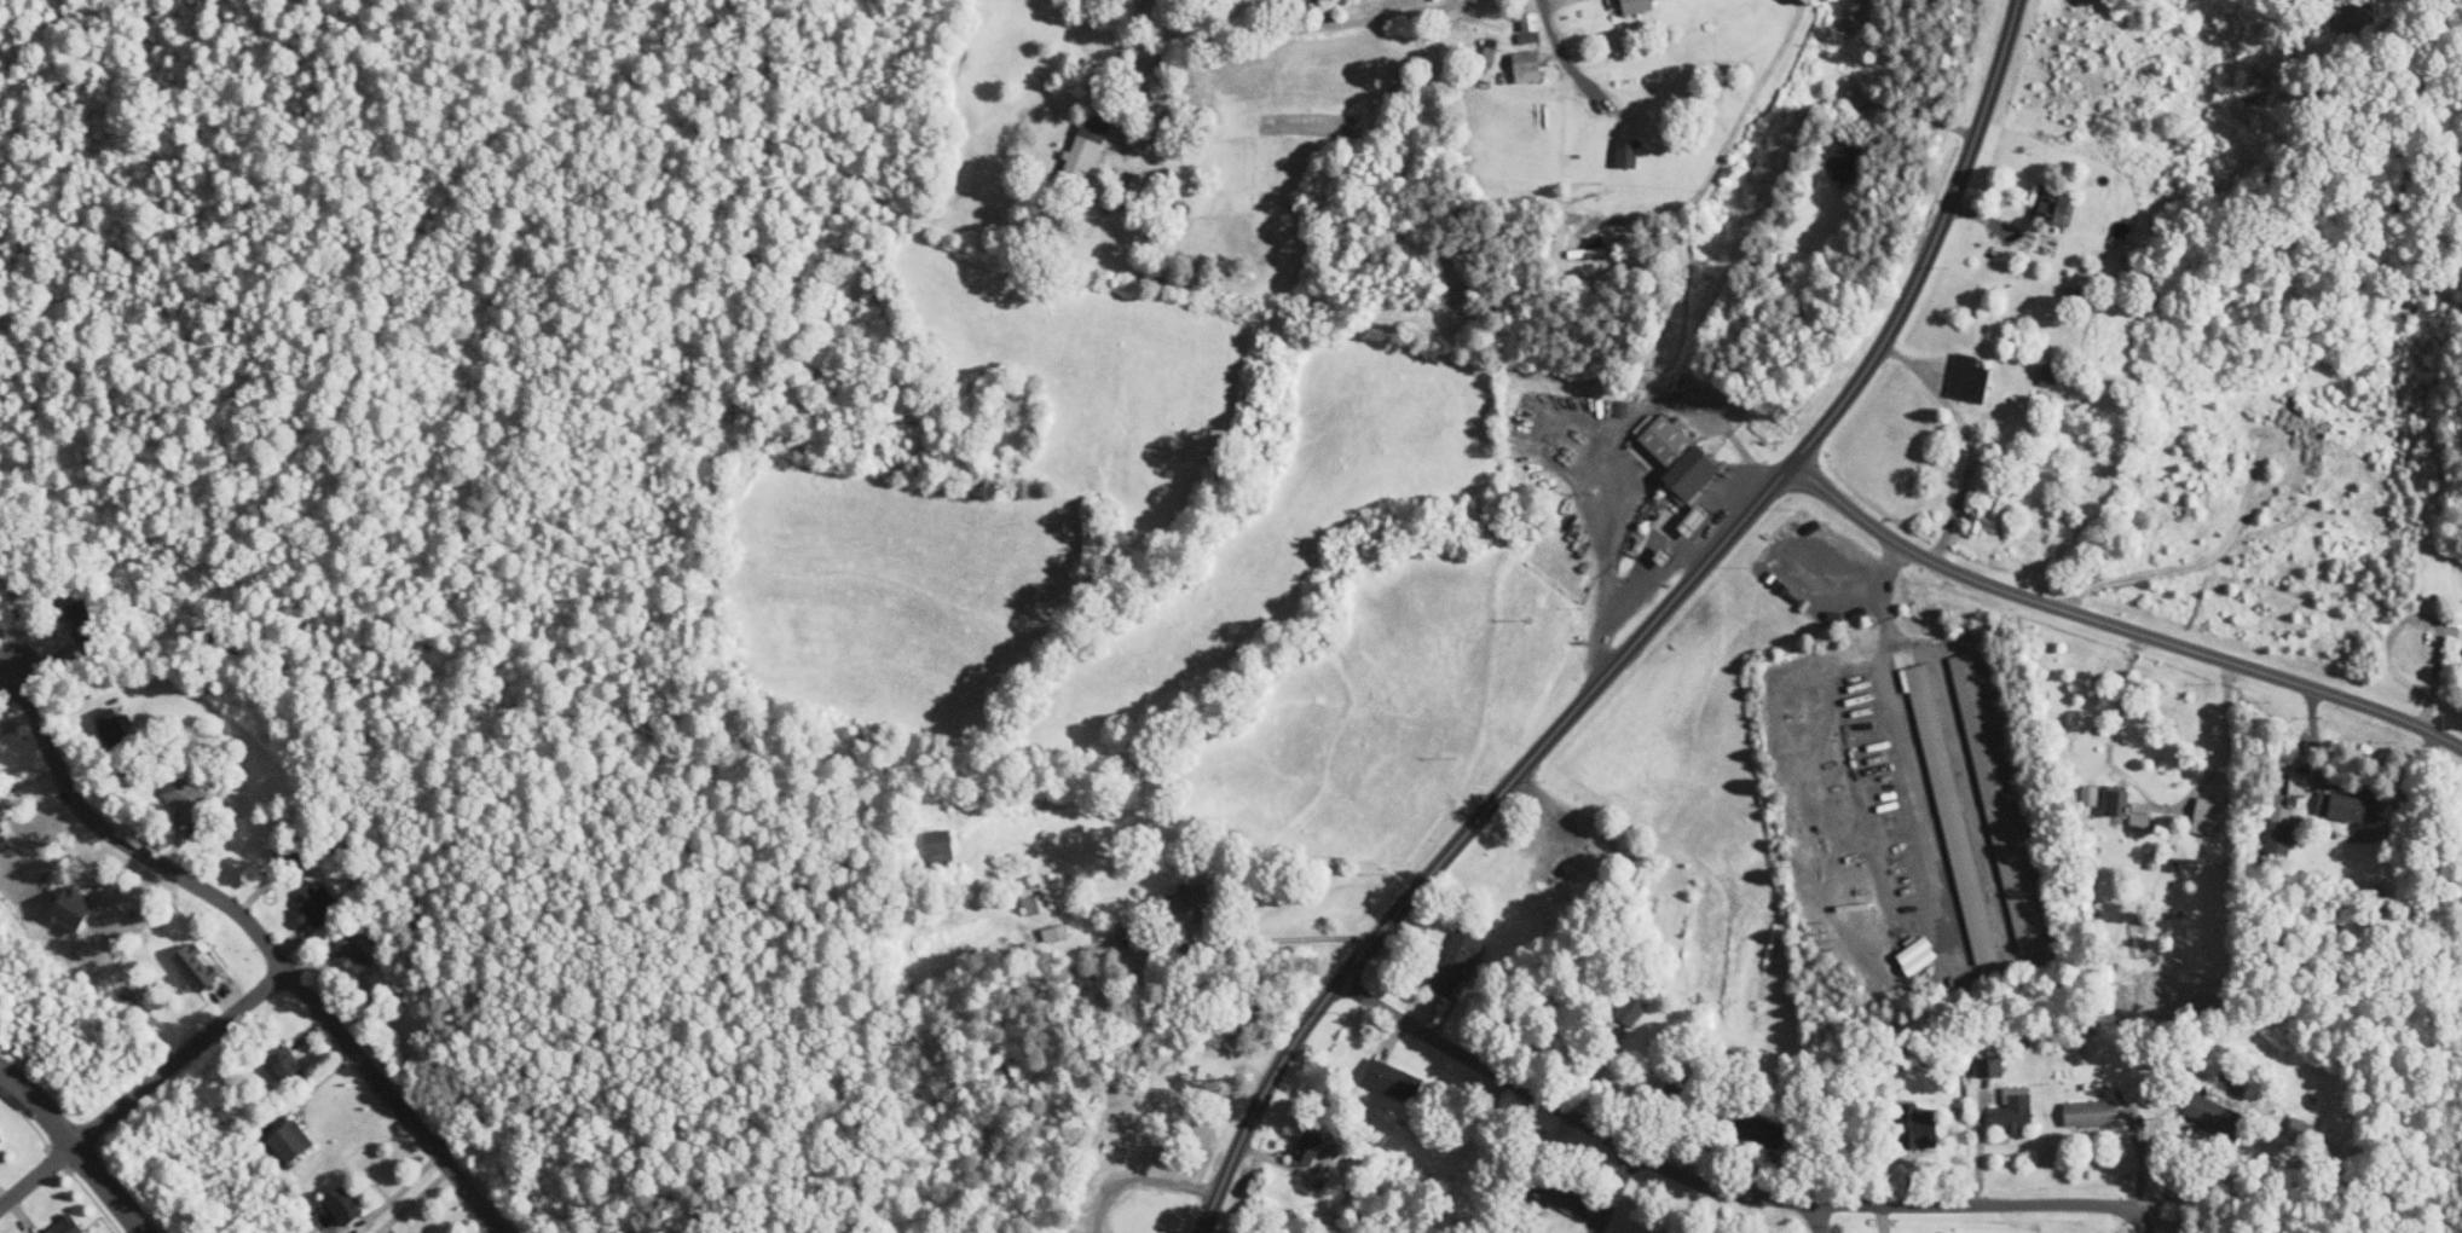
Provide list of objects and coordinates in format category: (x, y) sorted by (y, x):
building: (1635, 6)
building: (2354, 21)
building: (1531, 29)
road: (1279, 34)
building: (1530, 66)
road: (1738, 80)
road: (1919, 114)
building: (1087, 150)
building: (1630, 154)
building: (1846, 156)
building: (2056, 207)
building: (1972, 380)
building: (1665, 438)
building: (1693, 473)
building: (1989, 513)
building: (1698, 520)
road: (1603, 558)
building: (82, 609)
road: (2421, 619)
road: (2114, 623)
road: (1641, 633)
building: (111, 722)
road: (1907, 735)
building: (2300, 785)
building: (185, 794)
building: (2116, 800)
building: (1998, 803)
building: (2352, 806)
building: (1953, 814)
building: (2208, 816)
building: (2142, 817)
building: (2282, 828)
building: (2, 834)
building: (1035, 901)
building: (320, 903)
building: (1191, 905)
building: (75, 908)
building: (1058, 932)
road: (265, 937)
building: (356, 954)
building: (1919, 954)
building: (1457, 962)
building: (200, 966)
building: (1632, 1011)
building: (1617, 1029)
building: (288, 1064)
building: (1992, 1067)
road: (1474, 1071)
building: (1397, 1078)
road: (143, 1087)
park: (1036, 1104)
building: (2017, 1111)
building: (2213, 1112)
building: (2092, 1113)
building: (1923, 1127)
building: (1770, 1133)
building: (294, 1141)
road: (77, 1146)
building: (1311, 1147)
road: (1144, 1182)
road: (1601, 1192)
building: (1567, 1198)
building: (347, 1205)
road: (1876, 1210)
road: (1813, 1221)
building: (69, 1226)

